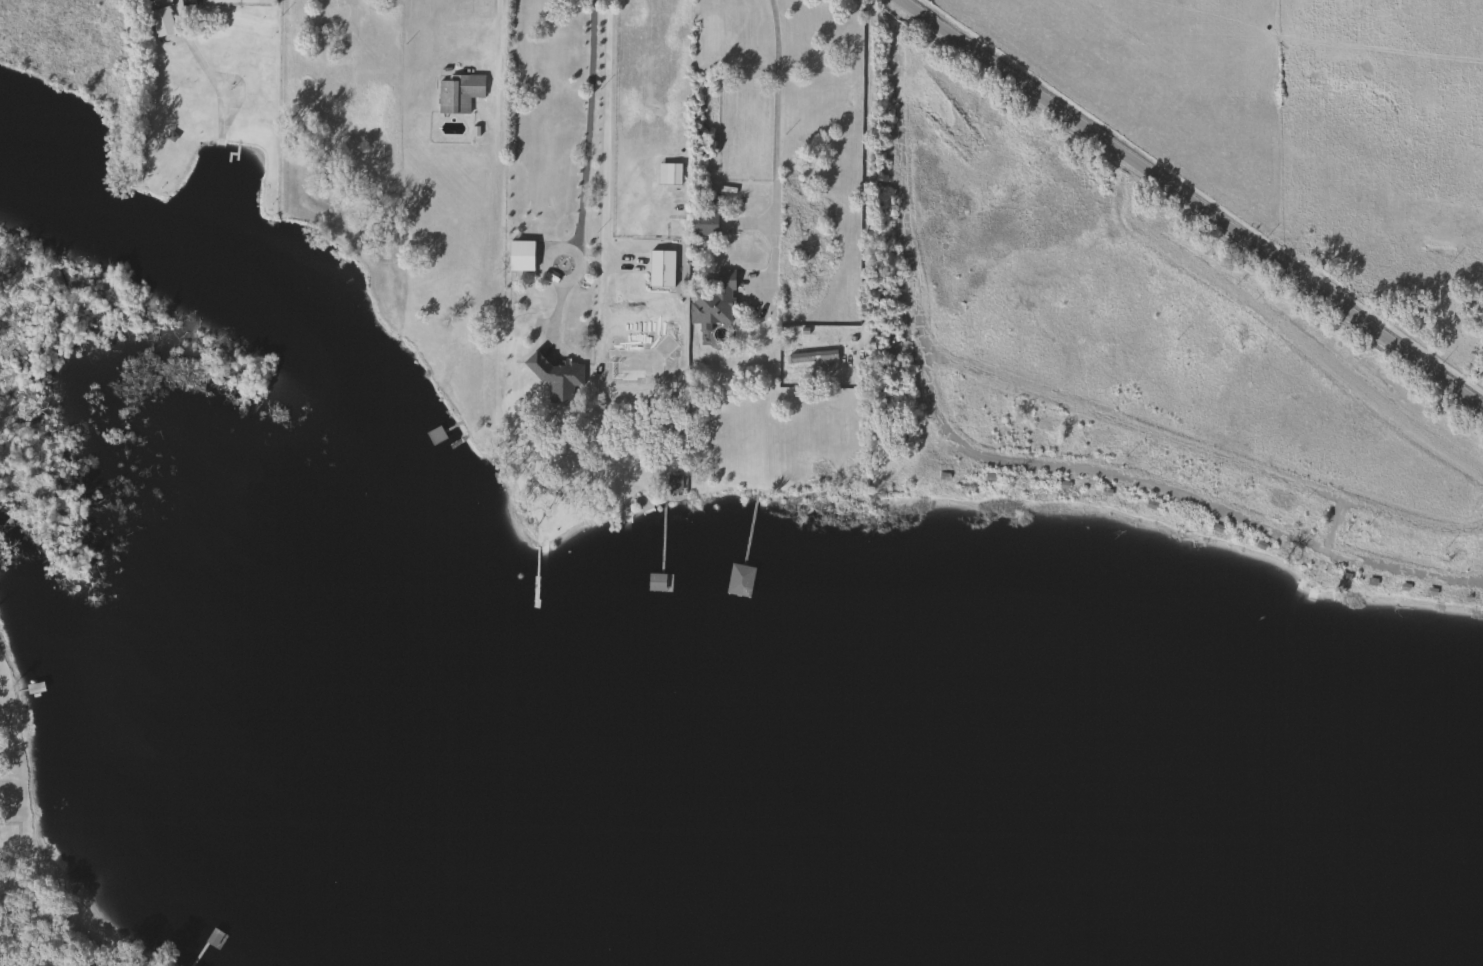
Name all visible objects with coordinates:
road: (177, 16)
building: (159, 22)
road: (494, 40)
building: (457, 93)
road: (604, 131)
road: (772, 156)
road: (582, 171)
building: (667, 174)
road: (1197, 200)
building: (519, 256)
building: (659, 269)
building: (712, 303)
building: (811, 358)
building: (630, 374)
building: (556, 378)
road: (1003, 453)
building: (672, 485)

